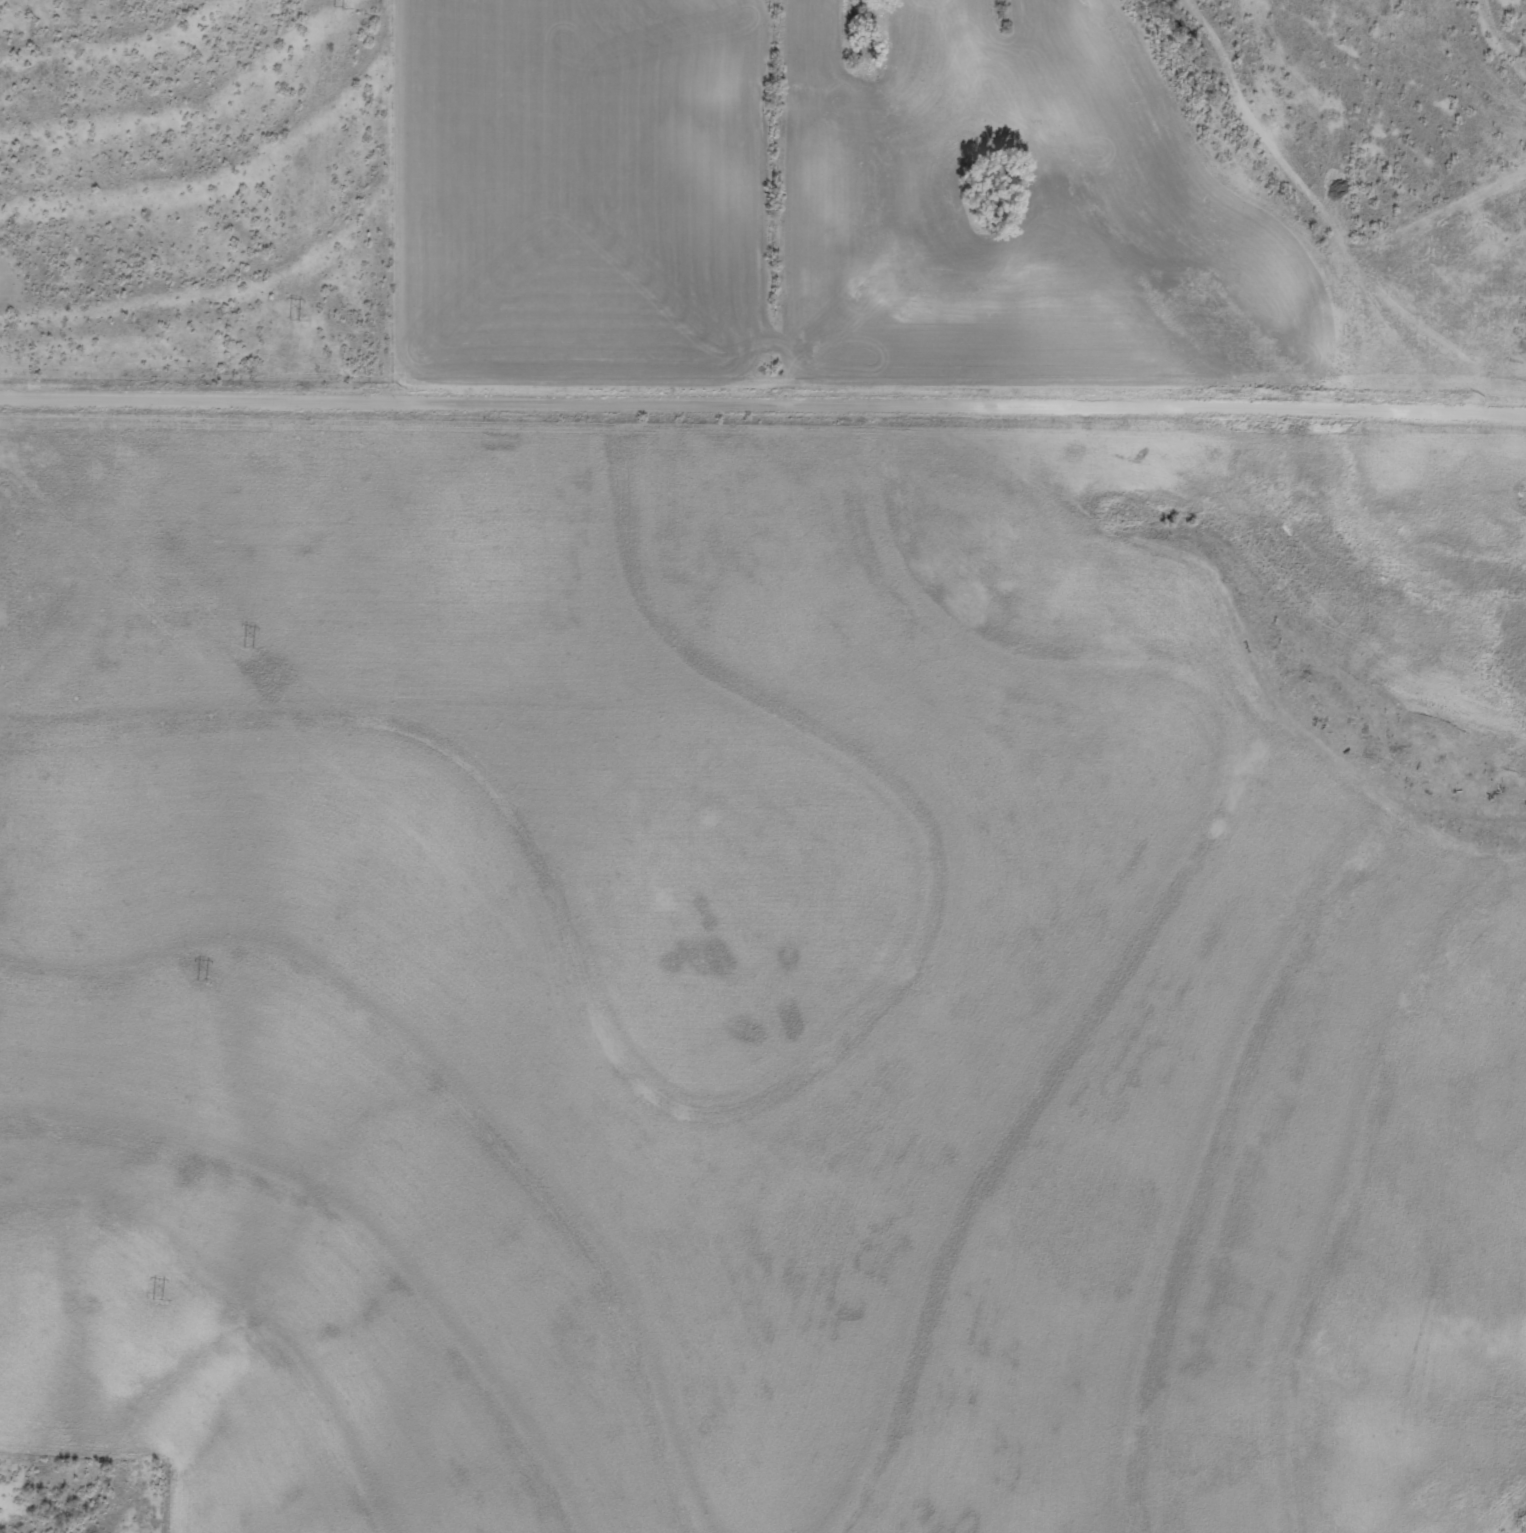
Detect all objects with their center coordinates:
power tower: (338, 8)
road: (882, 245)
power tower: (293, 322)
road: (763, 403)
power tower: (248, 646)
power tower: (201, 980)
power tower: (156, 1303)

